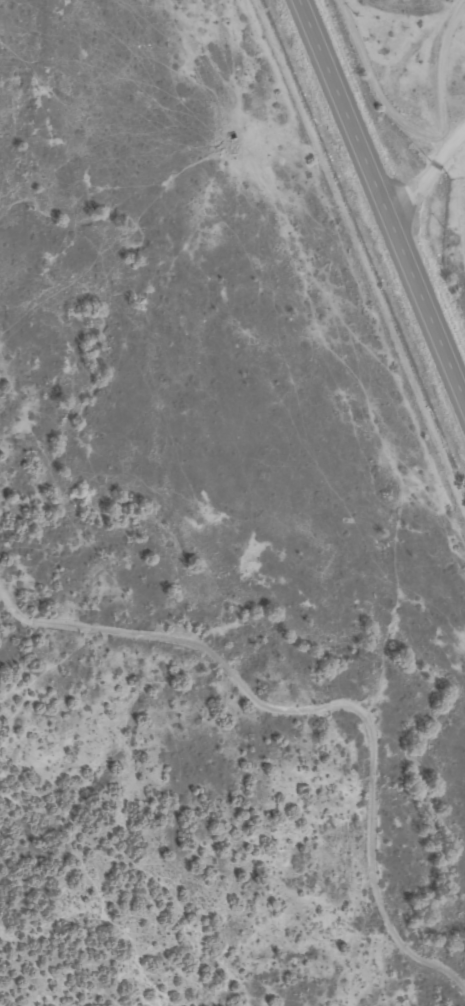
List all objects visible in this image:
road: (440, 71)
road: (382, 88)
road: (427, 178)
road: (458, 194)
road: (383, 198)
road: (360, 258)

